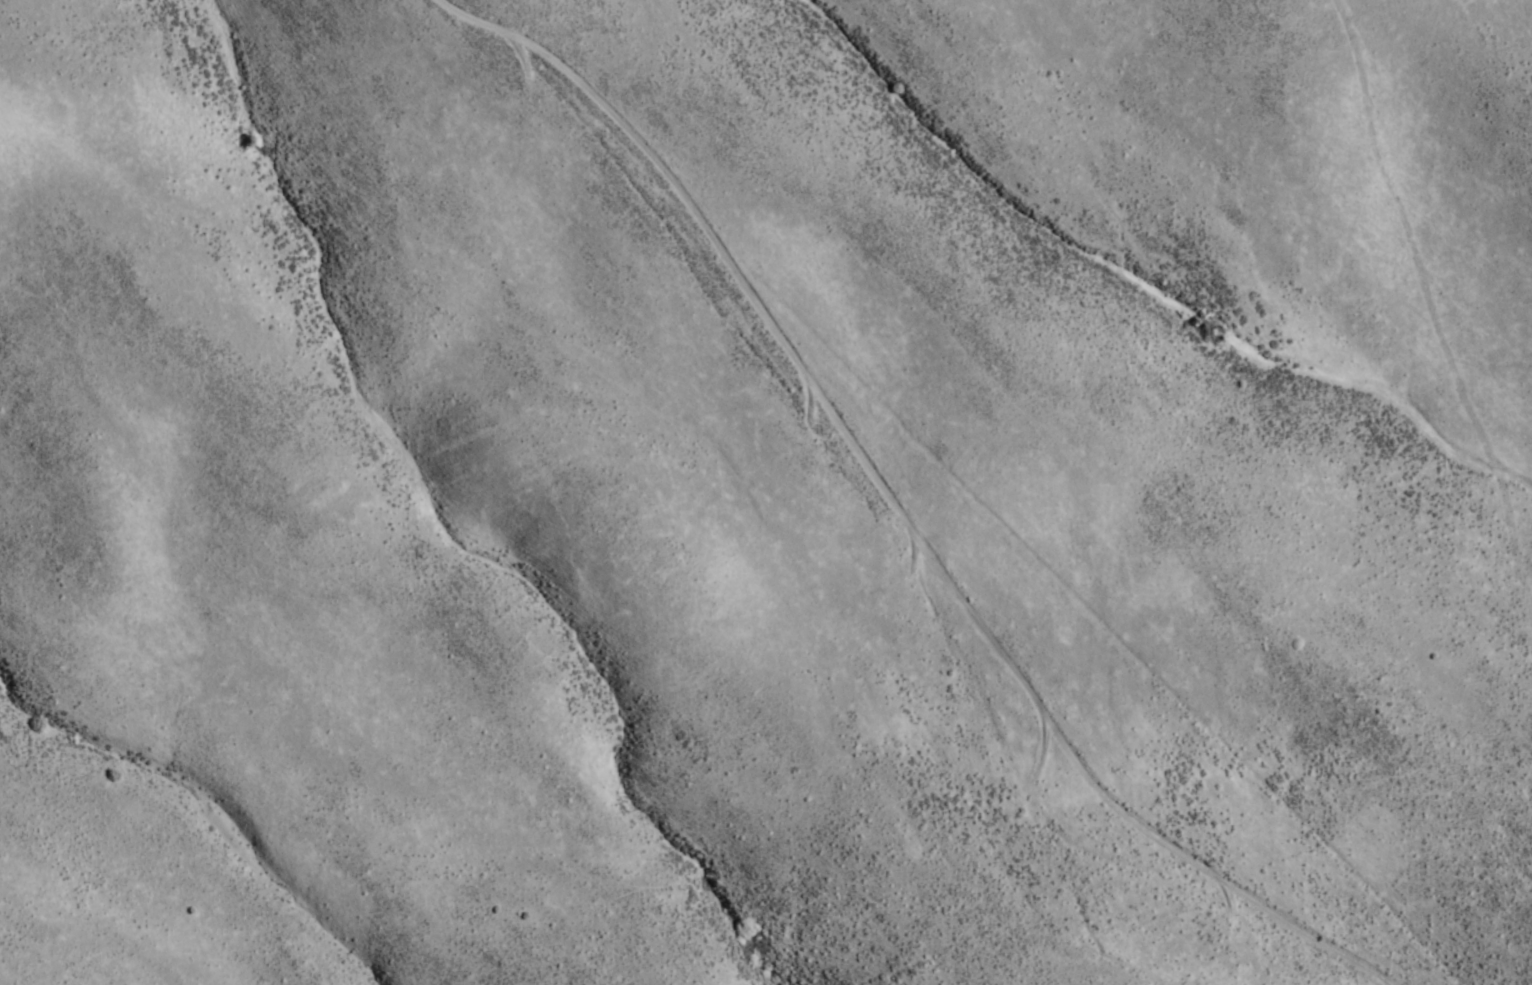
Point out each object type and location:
road: (899, 511)

